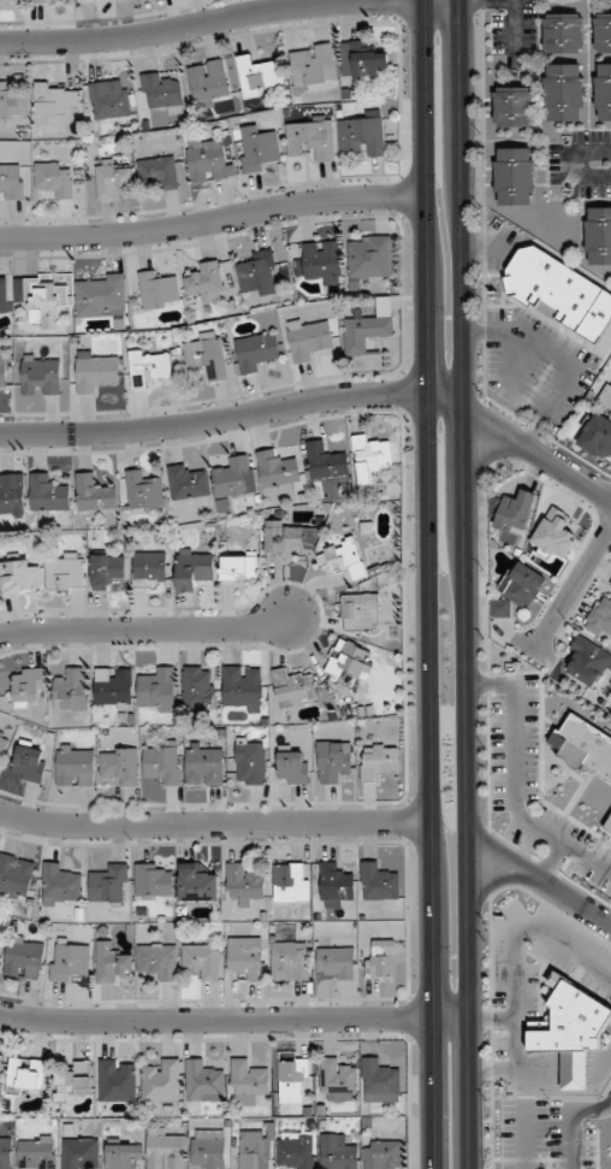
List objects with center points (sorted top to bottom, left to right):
building: (83, 0)
building: (47, 1)
road: (210, 22)
road: (514, 28)
building: (562, 33)
building: (601, 33)
building: (361, 61)
building: (313, 67)
building: (259, 75)
building: (208, 81)
building: (603, 91)
building: (563, 93)
building: (109, 99)
building: (54, 101)
building: (12, 104)
building: (514, 106)
building: (363, 136)
building: (310, 140)
building: (257, 148)
building: (207, 161)
road: (573, 164)
building: (159, 172)
building: (512, 177)
building: (112, 179)
building: (52, 181)
building: (11, 182)
road: (212, 218)
building: (598, 236)
building: (372, 256)
building: (322, 262)
building: (256, 274)
building: (204, 283)
building: (156, 290)
building: (558, 294)
building: (100, 296)
building: (5, 297)
building: (40, 302)
building: (367, 329)
building: (309, 341)
building: (255, 352)
building: (204, 355)
building: (149, 367)
building: (96, 371)
building: (2, 372)
building: (40, 374)
building: (606, 397)
road: (444, 400)
road: (213, 419)
building: (595, 437)
road: (536, 453)
building: (369, 456)
building: (325, 461)
building: (277, 472)
building: (233, 478)
building: (188, 483)
building: (143, 491)
building: (12, 494)
building: (47, 494)
building: (94, 494)
building: (515, 513)
building: (553, 535)
building: (287, 542)
building: (342, 561)
building: (238, 567)
building: (192, 571)
building: (105, 572)
building: (149, 572)
building: (64, 573)
building: (18, 577)
road: (428, 584)
road: (462, 584)
building: (610, 584)
road: (571, 588)
building: (517, 590)
building: (358, 613)
building: (600, 618)
road: (143, 628)
building: (350, 661)
building: (588, 663)
building: (26, 686)
building: (112, 686)
building: (197, 687)
building: (242, 689)
building: (295, 689)
building: (71, 690)
building: (156, 690)
building: (582, 745)
building: (2, 746)
building: (249, 761)
building: (332, 761)
building: (378, 761)
building: (204, 763)
building: (29, 764)
building: (161, 764)
building: (73, 767)
building: (117, 767)
building: (292, 768)
road: (214, 822)
road: (498, 851)
building: (14, 875)
building: (152, 880)
building: (290, 882)
building: (378, 882)
road: (492, 882)
building: (196, 884)
building: (58, 885)
building: (109, 885)
building: (333, 885)
building: (243, 886)
road: (571, 901)
building: (245, 958)
building: (23, 960)
building: (67, 960)
building: (381, 960)
building: (201, 961)
building: (111, 962)
building: (158, 962)
building: (290, 962)
building: (333, 963)
road: (232, 1019)
building: (570, 1032)
building: (25, 1076)
building: (379, 1079)
building: (291, 1080)
building: (117, 1081)
building: (161, 1081)
building: (337, 1081)
building: (71, 1082)
building: (203, 1082)
building: (247, 1082)
road: (571, 1117)
road: (524, 1134)
parking lot: (545, 1135)
building: (206, 1149)
building: (165, 1150)
building: (253, 1150)
building: (296, 1150)
building: (36, 1152)
building: (337, 1152)
building: (5, 1153)
building: (79, 1153)
building: (381, 1155)
building: (123, 1156)

